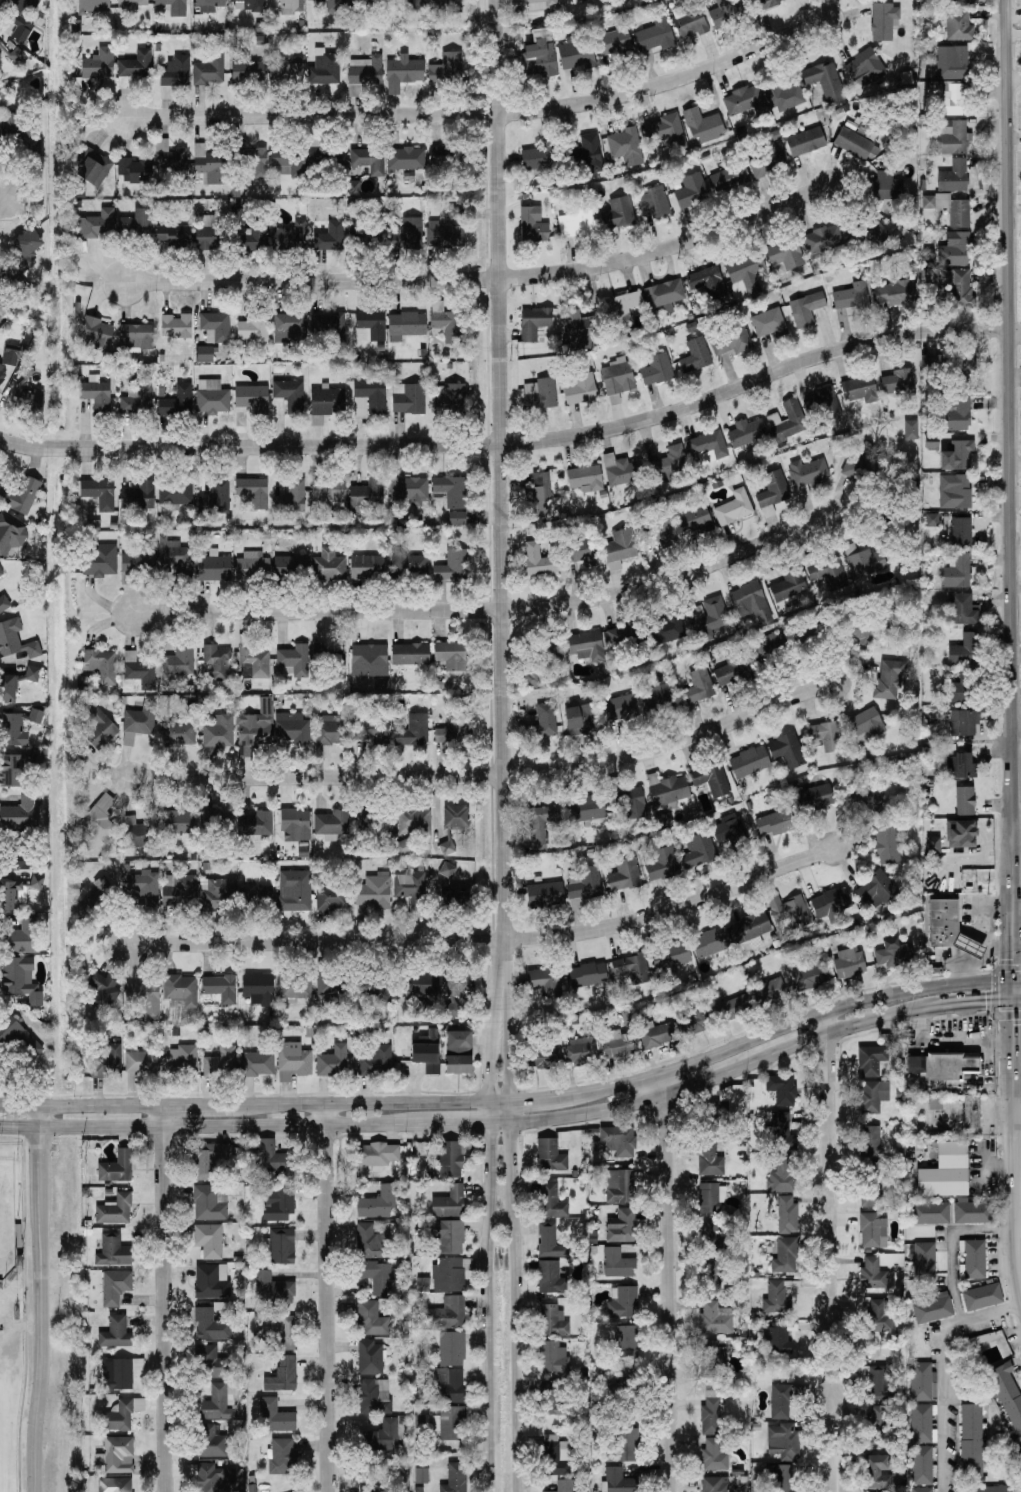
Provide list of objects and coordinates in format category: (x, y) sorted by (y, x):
building: (271, 0)
building: (363, 1)
building: (962, 2)
building: (133, 3)
building: (407, 3)
building: (768, 3)
building: (541, 4)
building: (248, 5)
building: (332, 5)
building: (94, 6)
building: (208, 6)
building: (292, 6)
building: (446, 6)
building: (174, 7)
building: (727, 13)
building: (20, 17)
building: (690, 20)
building: (884, 21)
building: (959, 25)
building: (655, 36)
building: (615, 42)
building: (0, 43)
building: (577, 53)
building: (17, 55)
building: (538, 56)
building: (952, 63)
building: (99, 65)
building: (136, 65)
building: (325, 68)
building: (864, 68)
building: (364, 69)
building: (447, 69)
building: (247, 70)
building: (406, 70)
building: (210, 71)
building: (287, 71)
building: (174, 76)
road: (1014, 78)
building: (825, 81)
building: (784, 96)
building: (951, 98)
building: (745, 101)
road: (483, 116)
building: (704, 126)
building: (668, 132)
building: (24, 134)
building: (952, 137)
road: (1014, 138)
building: (806, 142)
building: (857, 145)
building: (627, 146)
building: (315, 152)
building: (587, 154)
building: (169, 157)
building: (439, 157)
building: (406, 158)
building: (541, 158)
building: (369, 160)
building: (255, 161)
building: (768, 161)
building: (289, 162)
building: (209, 164)
building: (93, 167)
building: (136, 171)
building: (954, 177)
building: (730, 179)
building: (886, 186)
building: (353, 188)
building: (692, 191)
road: (6, 200)
building: (654, 203)
building: (950, 209)
building: (618, 213)
building: (455, 214)
building: (137, 222)
road: (501, 222)
building: (577, 223)
building: (96, 225)
building: (533, 225)
building: (874, 230)
building: (249, 233)
building: (174, 235)
building: (210, 235)
building: (364, 235)
building: (407, 235)
building: (444, 236)
building: (290, 237)
building: (331, 237)
building: (823, 240)
building: (955, 250)
building: (25, 251)
building: (785, 254)
building: (3, 275)
road: (484, 282)
building: (708, 282)
building: (952, 284)
building: (1, 293)
building: (893, 294)
building: (664, 296)
building: (852, 297)
building: (623, 307)
building: (806, 309)
building: (534, 322)
building: (447, 323)
building: (770, 323)
building: (372, 324)
building: (177, 326)
building: (330, 326)
building: (406, 326)
building: (216, 327)
building: (254, 327)
building: (290, 328)
road: (1014, 330)
building: (579, 331)
building: (97, 334)
building: (136, 337)
building: (731, 342)
building: (205, 354)
building: (11, 355)
building: (696, 356)
building: (933, 363)
building: (657, 370)
building: (963, 371)
building: (3, 374)
building: (617, 377)
building: (898, 382)
building: (580, 388)
building: (860, 389)
building: (540, 394)
building: (96, 395)
building: (291, 395)
building: (212, 397)
building: (369, 398)
building: (408, 398)
building: (137, 399)
building: (253, 399)
building: (450, 400)
building: (177, 402)
building: (326, 404)
building: (828, 404)
road: (1015, 407)
building: (958, 415)
building: (788, 421)
building: (911, 430)
building: (747, 432)
road: (512, 445)
building: (708, 447)
building: (958, 456)
building: (671, 464)
road: (1016, 465)
building: (858, 468)
building: (621, 470)
building: (808, 475)
building: (586, 479)
building: (774, 489)
building: (329, 490)
building: (410, 491)
building: (451, 491)
building: (253, 492)
building: (99, 493)
building: (176, 493)
building: (957, 494)
building: (538, 495)
building: (20, 496)
building: (139, 496)
building: (366, 496)
building: (292, 497)
building: (217, 498)
road: (1016, 503)
building: (734, 508)
building: (457, 519)
building: (932, 520)
building: (694, 521)
building: (665, 532)
building: (962, 533)
building: (11, 534)
building: (621, 548)
building: (582, 551)
building: (176, 556)
building: (140, 557)
building: (101, 560)
building: (538, 562)
building: (253, 565)
building: (867, 565)
building: (215, 567)
building: (290, 567)
building: (329, 567)
building: (413, 567)
building: (452, 567)
building: (367, 568)
building: (1, 572)
building: (957, 572)
building: (828, 573)
building: (128, 578)
building: (788, 587)
building: (751, 601)
building: (4, 604)
building: (963, 609)
road: (490, 611)
building: (710, 617)
building: (667, 629)
building: (809, 632)
building: (862, 634)
building: (624, 637)
building: (15, 640)
building: (587, 646)
building: (769, 650)
road: (1014, 650)
building: (966, 651)
building: (411, 654)
building: (451, 655)
building: (333, 659)
building: (253, 660)
building: (369, 660)
building: (179, 661)
building: (294, 661)
building: (217, 662)
building: (102, 666)
building: (734, 669)
building: (140, 671)
building: (32, 674)
building: (533, 678)
building: (889, 678)
building: (699, 686)
building: (961, 688)
building: (7, 689)
building: (659, 698)
building: (621, 709)
building: (582, 719)
building: (544, 723)
building: (964, 723)
building: (866, 726)
building: (17, 727)
building: (292, 728)
building: (99, 729)
building: (255, 729)
building: (331, 730)
building: (372, 730)
building: (454, 730)
building: (220, 732)
building: (413, 732)
building: (179, 734)
building: (826, 736)
building: (788, 750)
building: (749, 762)
building: (960, 766)
building: (11, 771)
road: (490, 775)
building: (712, 779)
road: (502, 784)
building: (668, 789)
building: (814, 798)
building: (965, 801)
building: (634, 803)
building: (864, 804)
building: (586, 809)
building: (20, 814)
building: (455, 816)
building: (366, 819)
building: (101, 820)
building: (217, 820)
building: (414, 822)
building: (541, 822)
building: (775, 823)
building: (179, 824)
building: (256, 824)
building: (332, 824)
building: (296, 825)
building: (730, 831)
building: (961, 834)
building: (142, 838)
building: (887, 845)
building: (933, 845)
building: (405, 846)
building: (447, 848)
building: (699, 852)
road: (1016, 854)
building: (23, 862)
building: (663, 864)
building: (448, 870)
building: (625, 875)
building: (37, 882)
building: (102, 887)
building: (144, 887)
building: (411, 888)
building: (180, 891)
building: (295, 891)
building: (876, 891)
building: (374, 892)
building: (217, 894)
building: (545, 894)
building: (12, 895)
building: (259, 896)
building: (332, 897)
building: (454, 900)
building: (832, 904)
building: (790, 910)
building: (750, 927)
building: (950, 928)
road: (974, 936)
building: (24, 937)
road: (485, 942)
building: (712, 942)
road: (992, 945)
road: (1016, 948)
building: (894, 954)
building: (671, 956)
traffic signals: (1012, 961)
road: (982, 962)
building: (849, 963)
building: (633, 969)
building: (588, 975)
building: (811, 977)
building: (20, 980)
building: (546, 982)
road: (1016, 982)
building: (425, 984)
building: (457, 985)
building: (295, 986)
building: (330, 986)
building: (221, 988)
building: (259, 989)
building: (181, 991)
building: (770, 992)
building: (104, 993)
building: (146, 998)
road: (1016, 1001)
traffic signals: (986, 1003)
road: (966, 1004)
building: (735, 1007)
building: (698, 1018)
traffic signals: (1012, 1026)
building: (660, 1034)
building: (17, 1037)
road: (952, 1041)
building: (618, 1045)
building: (581, 1051)
building: (428, 1052)
building: (459, 1052)
building: (183, 1058)
building: (375, 1060)
building: (871, 1060)
building: (293, 1061)
building: (142, 1062)
building: (221, 1062)
building: (333, 1062)
building: (106, 1063)
building: (258, 1064)
building: (943, 1066)
road: (1016, 1087)
building: (782, 1089)
building: (872, 1096)
road: (514, 1103)
building: (725, 1104)
building: (972, 1112)
road: (37, 1117)
road: (469, 1122)
building: (782, 1132)
building: (619, 1140)
building: (378, 1154)
building: (551, 1155)
building: (274, 1159)
building: (450, 1159)
building: (209, 1160)
building: (710, 1160)
road: (828, 1165)
building: (117, 1168)
building: (946, 1172)
building: (784, 1174)
building: (620, 1186)
building: (869, 1189)
building: (711, 1198)
building: (552, 1201)
building: (210, 1202)
building: (378, 1203)
building: (450, 1203)
building: (278, 1204)
building: (115, 1210)
building: (973, 1212)
building: (787, 1214)
building: (931, 1214)
building: (622, 1226)
building: (873, 1231)
building: (708, 1236)
building: (450, 1237)
building: (209, 1241)
building: (550, 1241)
building: (372, 1242)
building: (282, 1246)
road: (953, 1251)
building: (113, 1252)
building: (785, 1255)
building: (975, 1259)
building: (925, 1262)
building: (618, 1263)
building: (873, 1274)
building: (448, 1275)
building: (378, 1277)
building: (551, 1278)
building: (712, 1278)
road: (1018, 1279)
building: (212, 1281)
road: (671, 1285)
building: (116, 1287)
building: (273, 1290)
building: (982, 1297)
building: (776, 1298)
road: (327, 1299)
road: (164, 1300)
building: (624, 1303)
road: (490, 1305)
road: (517, 1305)
building: (933, 1309)
road: (45, 1310)
building: (880, 1313)
building: (448, 1314)
building: (717, 1318)
building: (371, 1319)
building: (553, 1321)
building: (211, 1326)
building: (116, 1333)
building: (283, 1333)
building: (778, 1338)
building: (981, 1339)
building: (626, 1342)
building: (452, 1348)
building: (370, 1358)
building: (554, 1358)
building: (711, 1358)
building: (213, 1363)
road: (944, 1371)
building: (120, 1373)
building: (283, 1375)
building: (922, 1381)
building: (878, 1382)
building: (448, 1386)
building: (621, 1386)
building: (1008, 1395)
building: (375, 1396)
building: (552, 1398)
building: (219, 1402)
building: (781, 1402)
building: (124, 1414)
building: (275, 1416)
building: (711, 1417)
building: (450, 1423)
building: (876, 1424)
building: (922, 1424)
building: (382, 1436)
building: (211, 1441)
building: (972, 1441)
building: (784, 1442)
building: (626, 1446)
road: (829, 1446)
building: (119, 1455)
building: (715, 1455)
building: (282, 1456)
building: (557, 1456)
building: (922, 1465)
building: (879, 1472)
building: (422, 1475)
building: (214, 1478)
building: (455, 1478)
building: (785, 1478)
building: (618, 1481)
building: (116, 1484)
building: (715, 1484)
building: (565, 1486)
building: (991, 1489)
building: (369, 1490)
building: (922, 1490)

